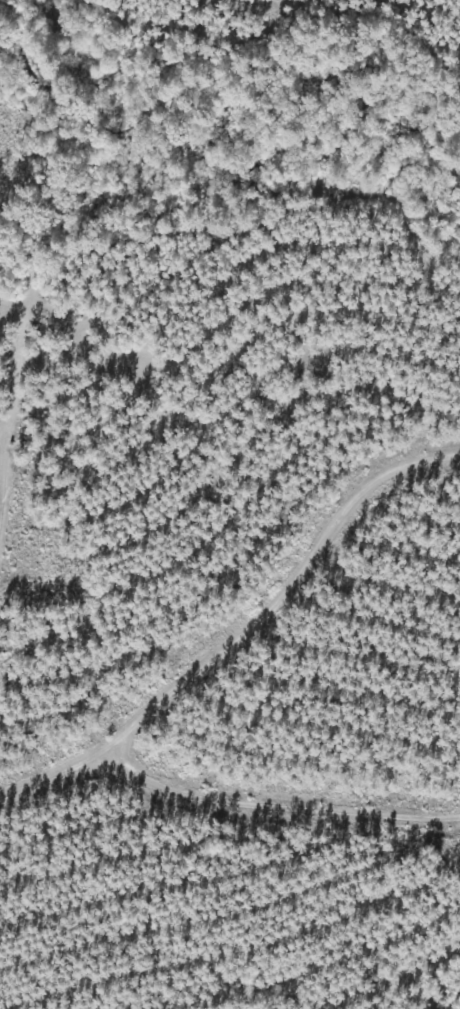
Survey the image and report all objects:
road: (286, 658)
road: (229, 797)

